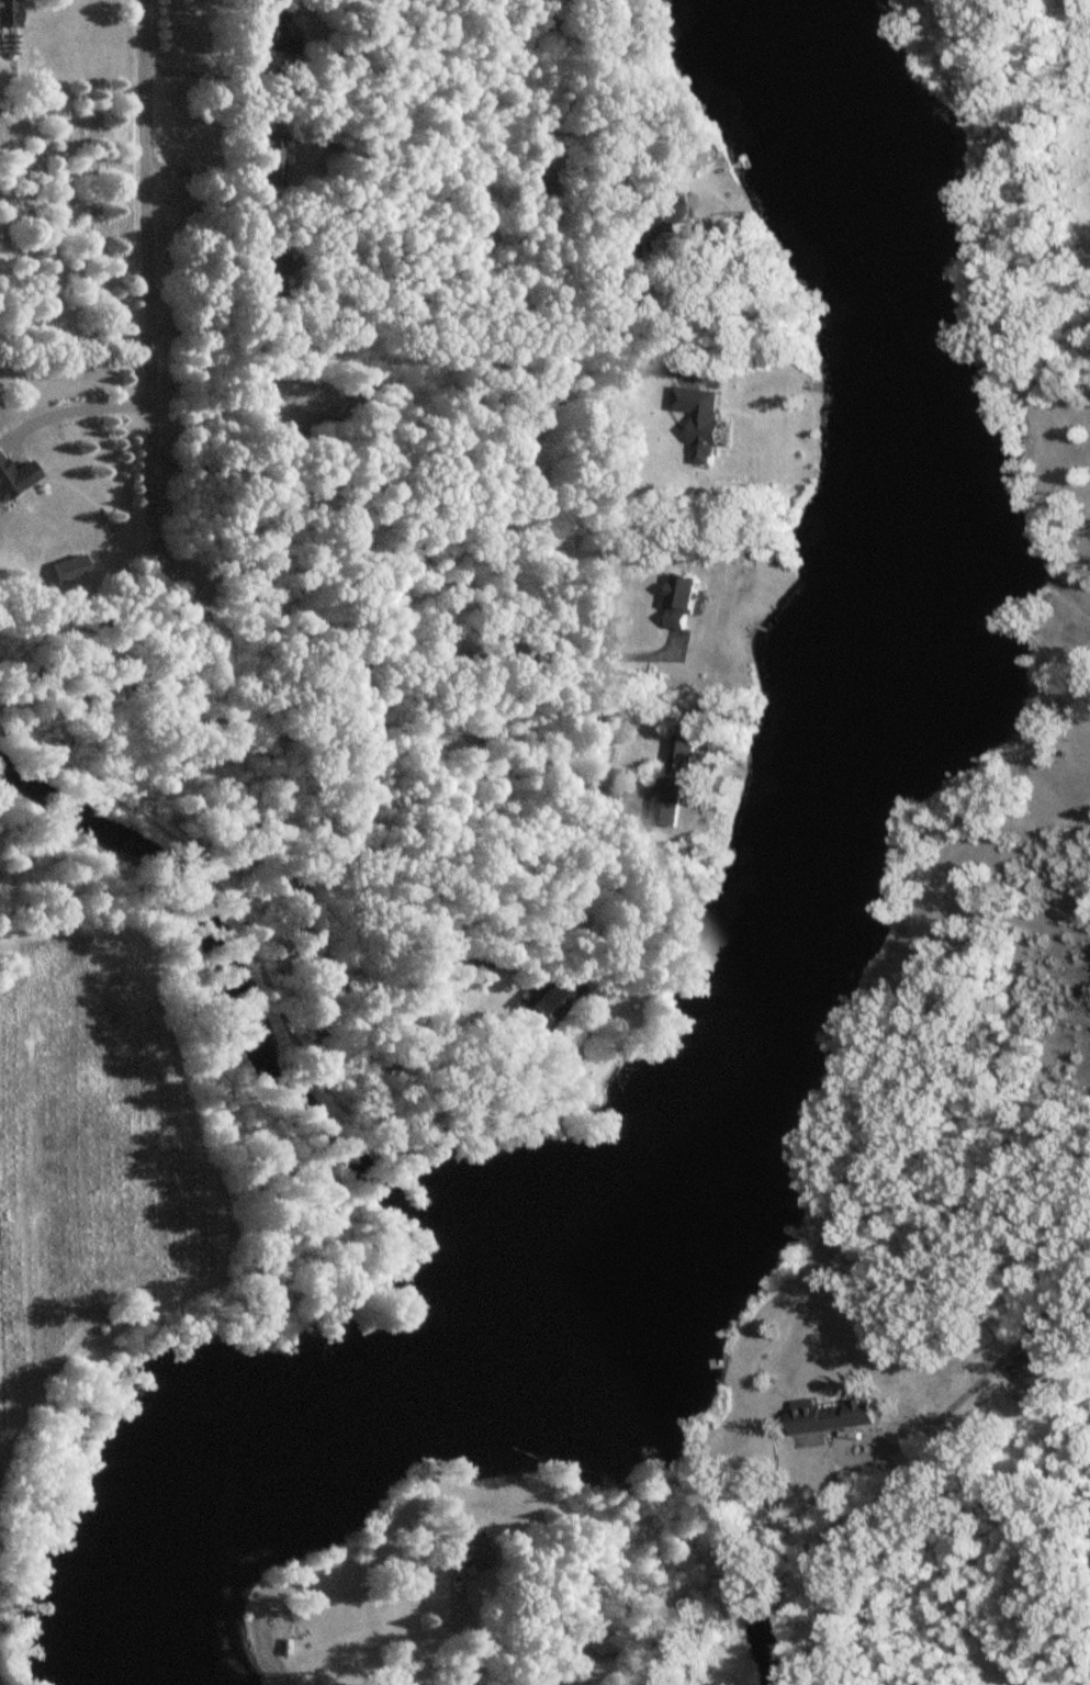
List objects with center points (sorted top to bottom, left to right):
building: (7, 12)
building: (271, 34)
road: (199, 61)
building: (270, 160)
building: (650, 214)
building: (271, 271)
road: (148, 301)
road: (385, 307)
road: (72, 411)
road: (419, 430)
building: (14, 478)
road: (1068, 595)
building: (683, 600)
road: (403, 652)
road: (505, 737)
building: (683, 754)
road: (367, 823)
building: (550, 996)
road: (993, 1364)
building: (1030, 1372)
building: (830, 1415)
road: (831, 1447)
building: (467, 1554)
road: (454, 1576)
road: (464, 1622)
building: (598, 1640)
road: (569, 1649)
road: (527, 1664)

